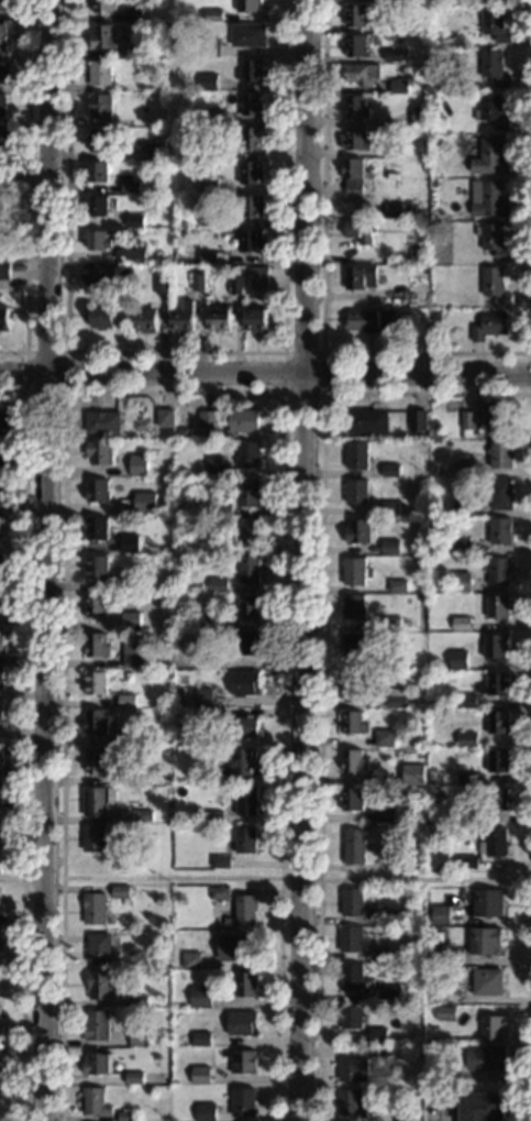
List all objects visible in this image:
building: (506, 0)
building: (2, 6)
building: (103, 6)
building: (248, 6)
building: (423, 7)
building: (436, 11)
building: (131, 14)
building: (213, 15)
building: (355, 15)
building: (495, 24)
building: (170, 29)
building: (247, 34)
building: (2, 35)
building: (103, 36)
building: (355, 45)
building: (209, 47)
building: (142, 51)
building: (392, 54)
building: (402, 55)
building: (442, 57)
building: (141, 63)
building: (493, 67)
building: (403, 69)
building: (251, 70)
building: (3, 72)
building: (99, 73)
building: (361, 74)
road: (29, 80)
building: (207, 81)
building: (398, 84)
building: (2, 103)
building: (252, 105)
building: (433, 105)
building: (101, 107)
building: (355, 107)
building: (490, 111)
building: (213, 114)
building: (419, 116)
building: (100, 139)
building: (251, 139)
building: (354, 139)
building: (3, 141)
building: (197, 142)
building: (419, 147)
building: (155, 150)
building: (489, 157)
building: (99, 172)
building: (251, 173)
building: (353, 175)
road: (22, 178)
road: (29, 178)
building: (432, 183)
building: (207, 184)
building: (131, 186)
building: (344, 198)
building: (489, 200)
building: (98, 206)
building: (252, 207)
building: (392, 208)
building: (409, 211)
building: (208, 216)
building: (134, 220)
building: (409, 226)
building: (1, 227)
building: (434, 227)
building: (359, 230)
building: (99, 240)
building: (251, 240)
building: (493, 240)
building: (131, 255)
building: (208, 257)
building: (425, 268)
building: (4, 271)
building: (106, 272)
road: (27, 273)
building: (258, 275)
building: (359, 276)
road: (322, 281)
building: (198, 282)
building: (494, 284)
building: (235, 285)
building: (161, 286)
building: (434, 316)
building: (102, 317)
building: (181, 317)
building: (5, 318)
building: (218, 319)
building: (144, 320)
building: (255, 320)
building: (369, 320)
building: (488, 326)
road: (176, 352)
road: (284, 352)
road: (265, 376)
road: (66, 391)
road: (175, 392)
building: (495, 413)
building: (165, 418)
building: (229, 419)
building: (416, 419)
building: (366, 420)
building: (467, 420)
building: (8, 422)
building: (103, 422)
building: (100, 452)
building: (247, 454)
building: (499, 454)
building: (356, 455)
building: (3, 464)
building: (139, 465)
building: (213, 465)
building: (461, 469)
building: (389, 470)
building: (1, 490)
building: (98, 491)
building: (355, 492)
building: (247, 493)
building: (499, 494)
building: (145, 503)
building: (221, 507)
building: (460, 507)
building: (389, 508)
building: (2, 526)
building: (97, 528)
building: (248, 530)
building: (357, 530)
building: (499, 531)
building: (129, 543)
building: (209, 545)
building: (461, 546)
building: (389, 547)
road: (44, 560)
road: (300, 560)
building: (1, 564)
building: (98, 567)
building: (248, 570)
building: (353, 571)
building: (497, 571)
building: (130, 582)
building: (461, 582)
building: (218, 585)
building: (397, 585)
building: (1, 601)
building: (96, 605)
building: (247, 605)
building: (352, 606)
building: (497, 606)
building: (125, 623)
building: (214, 624)
building: (390, 624)
building: (461, 624)
building: (1, 639)
building: (247, 644)
building: (357, 644)
building: (97, 645)
building: (495, 645)
road: (320, 652)
building: (132, 656)
building: (457, 660)
building: (213, 662)
building: (390, 662)
building: (442, 672)
building: (1, 679)
building: (97, 682)
building: (243, 682)
building: (495, 684)
building: (353, 686)
building: (202, 697)
building: (395, 699)
building: (126, 701)
building: (465, 701)
building: (0, 713)
building: (215, 716)
building: (96, 722)
building: (353, 722)
building: (497, 722)
building: (245, 727)
building: (126, 738)
building: (384, 738)
building: (466, 739)
road: (24, 743)
building: (0, 751)
building: (198, 751)
building: (96, 760)
building: (497, 760)
building: (353, 761)
building: (239, 763)
building: (412, 774)
building: (126, 777)
building: (466, 778)
building: (0, 789)
building: (351, 799)
building: (497, 799)
building: (98, 801)
building: (245, 801)
building: (384, 814)
building: (135, 815)
building: (213, 816)
building: (466, 816)
building: (130, 828)
building: (0, 829)
building: (93, 838)
building: (245, 840)
building: (494, 843)
building: (353, 846)
building: (375, 847)
building: (407, 858)
building: (0, 859)
building: (220, 861)
building: (395, 861)
building: (466, 862)
building: (451, 865)
road: (172, 878)
road: (299, 878)
road: (424, 879)
building: (120, 891)
building: (219, 893)
building: (351, 902)
building: (487, 902)
building: (93, 908)
building: (245, 909)
building: (440, 914)
building: (395, 915)
building: (0, 937)
building: (350, 938)
building: (483, 941)
building: (98, 947)
building: (234, 948)
building: (379, 954)
building: (434, 955)
building: (191, 960)
building: (398, 966)
building: (352, 978)
building: (487, 982)
building: (244, 983)
building: (99, 985)
building: (434, 992)
building: (200, 997)
building: (388, 997)
road: (529, 1000)
building: (139, 1001)
building: (445, 1013)
building: (352, 1016)
building: (241, 1023)
building: (97, 1025)
building: (490, 1027)
building: (140, 1036)
building: (376, 1036)
building: (201, 1040)
building: (155, 1043)
building: (380, 1055)
building: (485, 1058)
building: (243, 1062)
building: (97, 1064)
building: (441, 1068)
building: (352, 1070)
building: (200, 1075)
building: (133, 1078)
building: (417, 1092)
building: (95, 1101)
building: (242, 1102)
building: (350, 1102)
building: (482, 1106)
building: (383, 1110)
building: (206, 1112)
road: (443, 1114)
building: (126, 1115)
building: (405, 1118)

